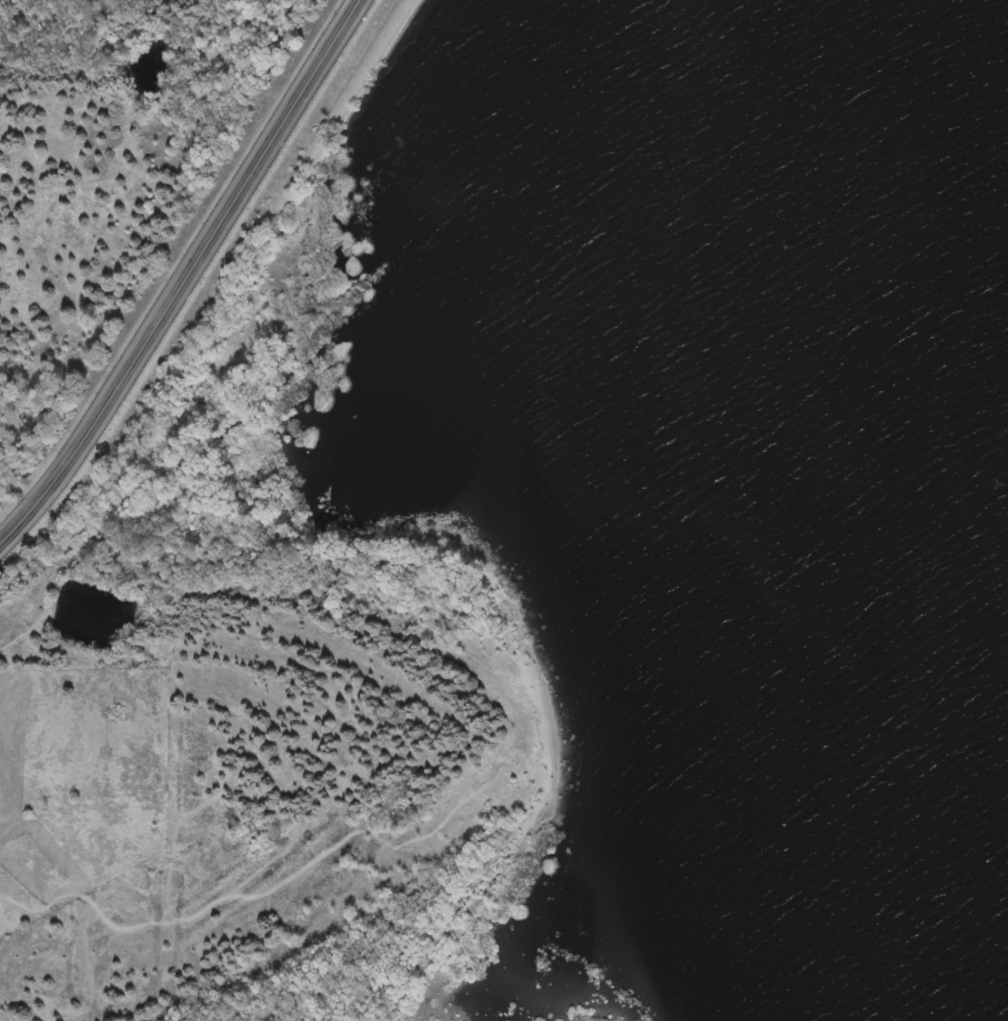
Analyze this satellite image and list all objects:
road: (322, 44)
road: (153, 315)

